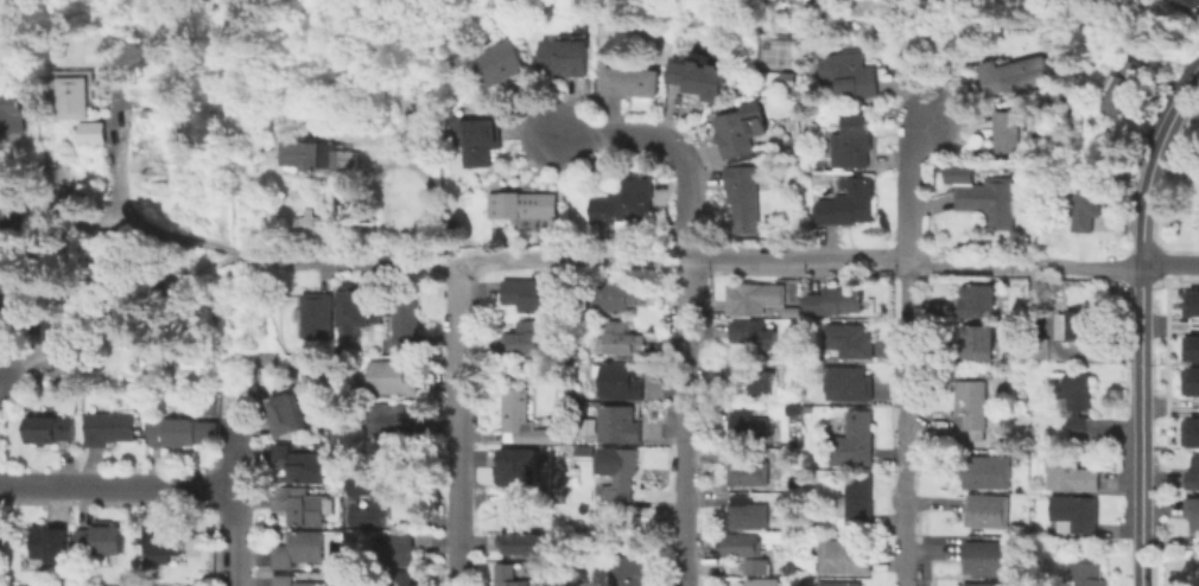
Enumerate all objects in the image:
building: (1191, 6)
building: (565, 55)
building: (7, 58)
building: (501, 64)
building: (850, 75)
building: (1015, 77)
building: (700, 81)
building: (632, 83)
building: (1129, 89)
building: (80, 95)
building: (417, 112)
building: (14, 117)
building: (741, 133)
building: (95, 134)
building: (1010, 134)
building: (478, 142)
building: (852, 144)
road: (672, 146)
building: (324, 157)
road: (1154, 168)
building: (742, 193)
building: (59, 200)
building: (992, 204)
building: (1093, 204)
building: (849, 205)
building: (626, 206)
building: (526, 209)
building: (14, 211)
road: (148, 224)
road: (560, 260)
road: (795, 262)
road: (345, 263)
road: (1171, 266)
road: (1023, 267)
building: (18, 295)
building: (532, 298)
building: (617, 298)
building: (754, 300)
building: (979, 301)
building: (835, 302)
building: (1191, 302)
building: (125, 308)
building: (363, 310)
building: (791, 312)
building: (321, 318)
building: (1078, 324)
building: (410, 325)
building: (756, 335)
building: (57, 338)
building: (526, 339)
building: (624, 339)
building: (851, 343)
building: (978, 344)
road: (905, 346)
building: (1190, 348)
building: (195, 356)
road: (1142, 359)
building: (397, 378)
building: (751, 380)
building: (1191, 380)
building: (624, 383)
building: (850, 384)
building: (1079, 401)
building: (973, 406)
building: (286, 416)
building: (394, 421)
building: (522, 421)
building: (617, 423)
road: (685, 423)
road: (459, 425)
building: (748, 428)
building: (113, 429)
building: (51, 432)
building: (1191, 433)
building: (188, 434)
building: (855, 442)
road: (237, 450)
building: (303, 465)
building: (516, 466)
building: (748, 471)
building: (1192, 472)
building: (984, 474)
building: (1072, 477)
building: (623, 479)
road: (118, 484)
building: (359, 486)
building: (859, 502)
building: (300, 505)
building: (988, 514)
building: (370, 515)
building: (748, 515)
building: (1074, 515)
building: (1193, 517)
road: (1141, 518)
road: (234, 535)
building: (102, 541)
building: (527, 541)
building: (167, 542)
building: (51, 546)
building: (402, 549)
building: (299, 550)
building: (749, 553)
building: (845, 559)
building: (985, 560)
building: (632, 566)
building: (510, 575)
building: (1089, 575)
building: (294, 581)
building: (406, 581)
building: (762, 584)
building: (981, 584)
building: (840, 585)

